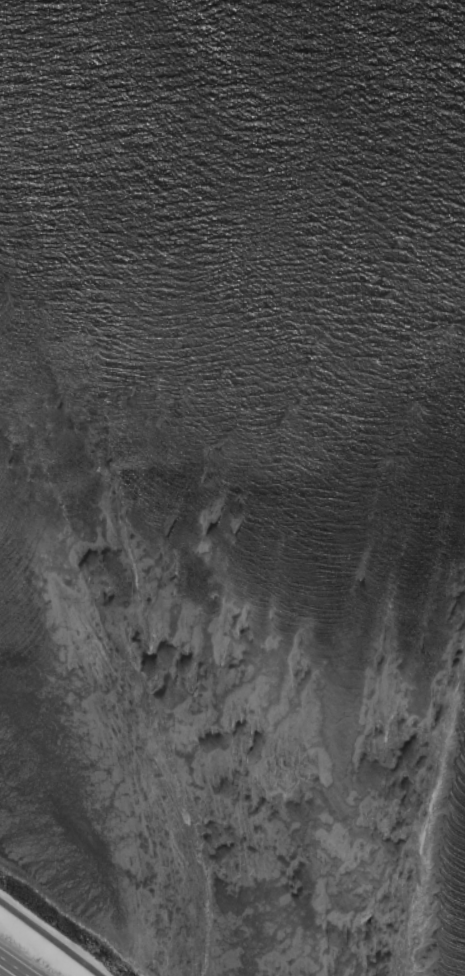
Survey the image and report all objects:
road: (26, 957)
road: (7, 970)

